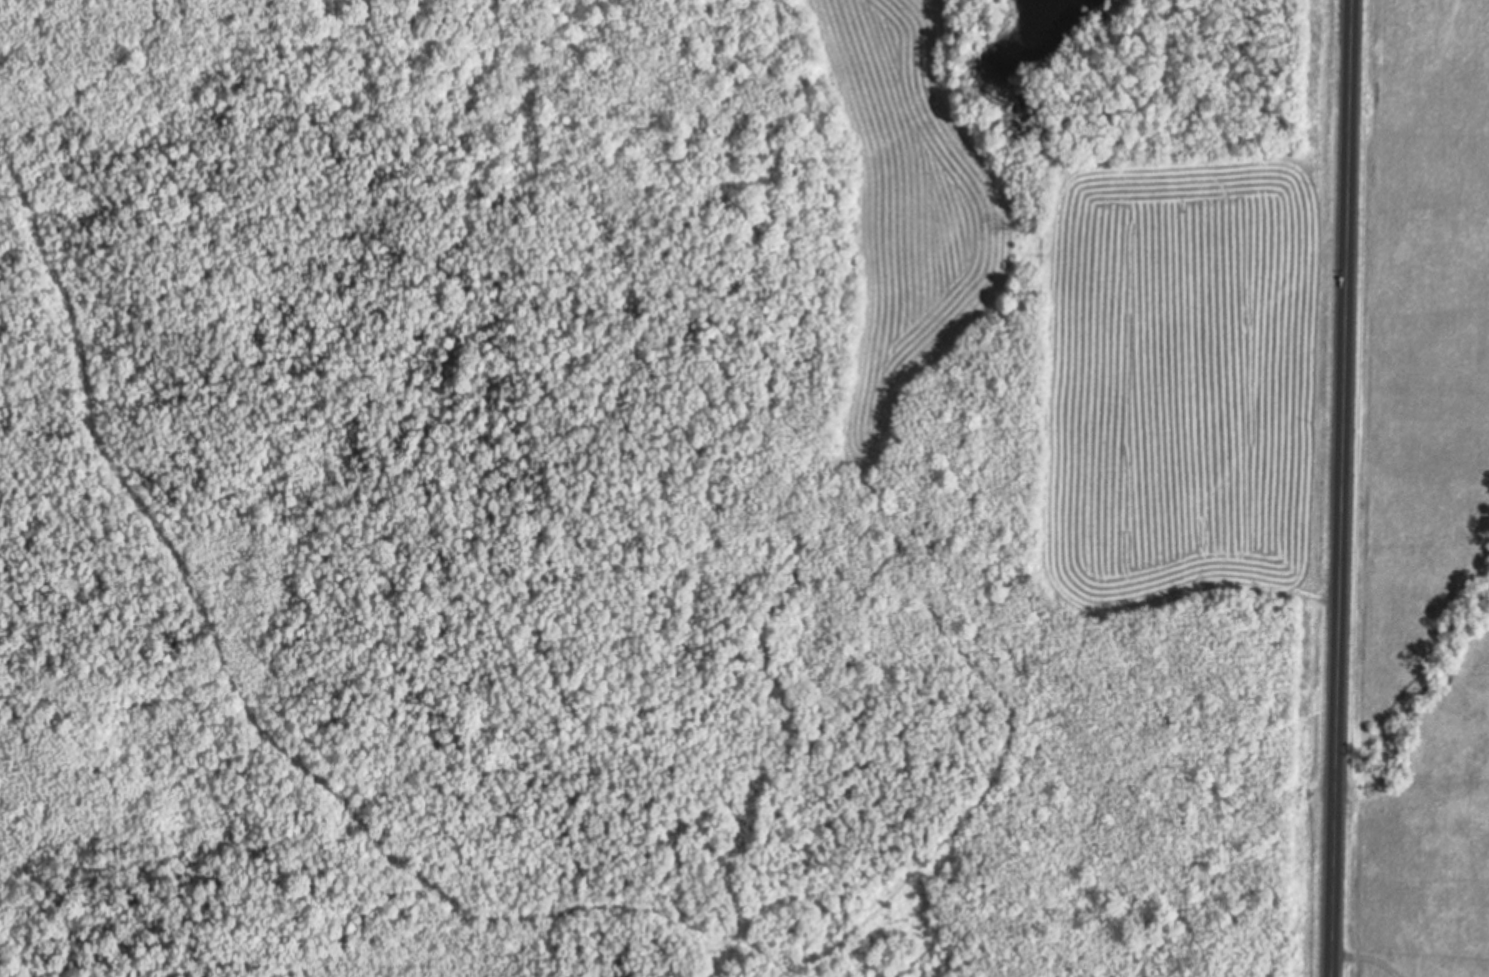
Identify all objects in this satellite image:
road: (1342, 488)

